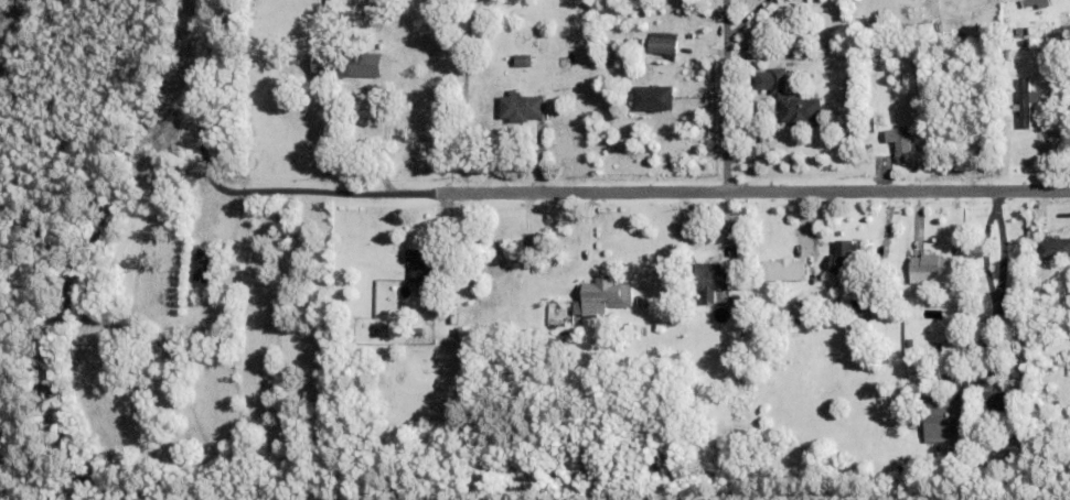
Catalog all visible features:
building: (1029, 2)
building: (332, 6)
building: (635, 42)
building: (663, 45)
building: (543, 47)
building: (522, 59)
building: (336, 63)
road: (725, 95)
building: (653, 97)
road: (460, 98)
building: (1024, 101)
building: (521, 106)
building: (800, 110)
building: (868, 123)
building: (900, 142)
road: (382, 151)
road: (750, 189)
road: (287, 192)
building: (1041, 228)
building: (1053, 249)
road: (1001, 252)
building: (849, 259)
building: (425, 263)
building: (203, 264)
building: (929, 269)
building: (782, 270)
building: (710, 280)
road: (993, 292)
building: (1051, 295)
building: (602, 296)
building: (1041, 314)
building: (1012, 316)
building: (419, 331)
building: (464, 331)
building: (625, 331)
building: (638, 333)
building: (550, 344)
building: (172, 345)
building: (150, 346)
building: (631, 361)
building: (746, 376)
building: (997, 409)
building: (1063, 414)
building: (941, 416)
building: (911, 424)
building: (899, 439)
building: (969, 445)
building: (955, 460)
building: (999, 463)
building: (913, 467)

